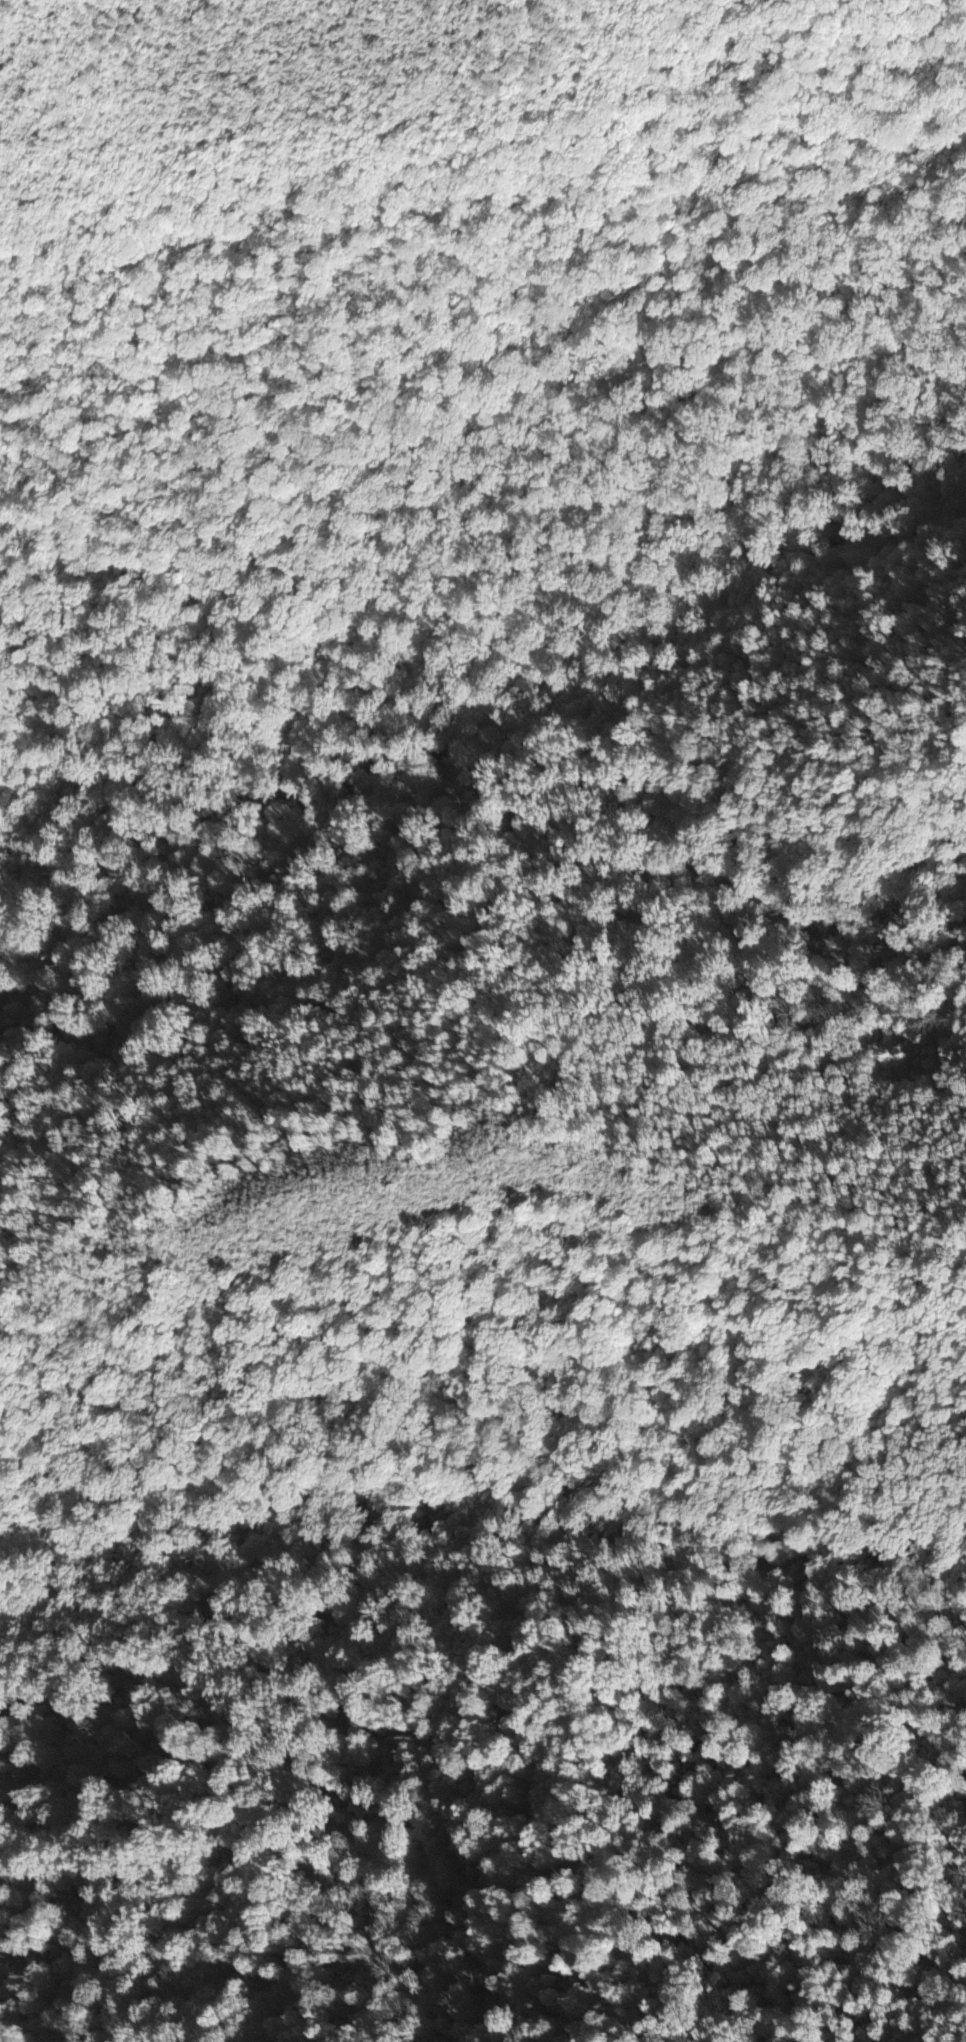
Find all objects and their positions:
road: (492, 723)

